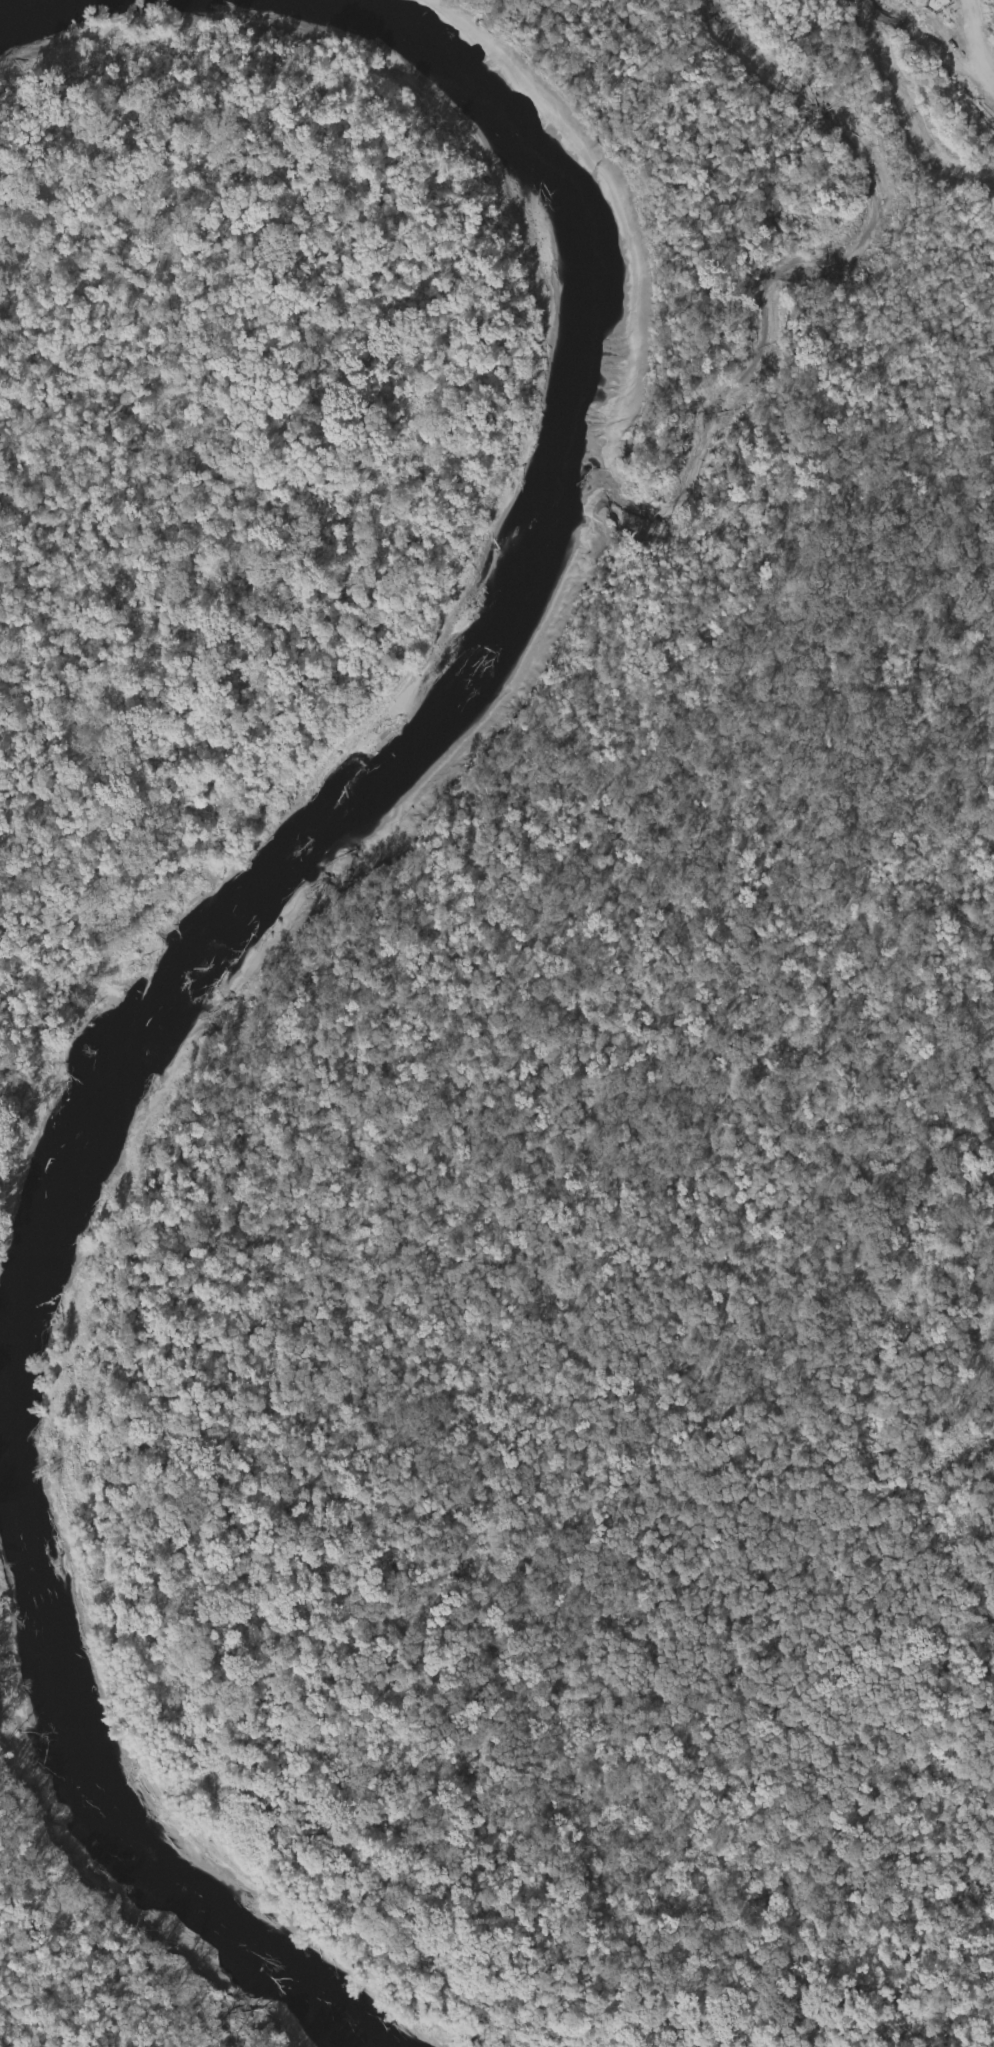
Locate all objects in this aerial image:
river: (74, 14)
river: (336, 808)
river: (215, 1847)
river: (340, 1982)

